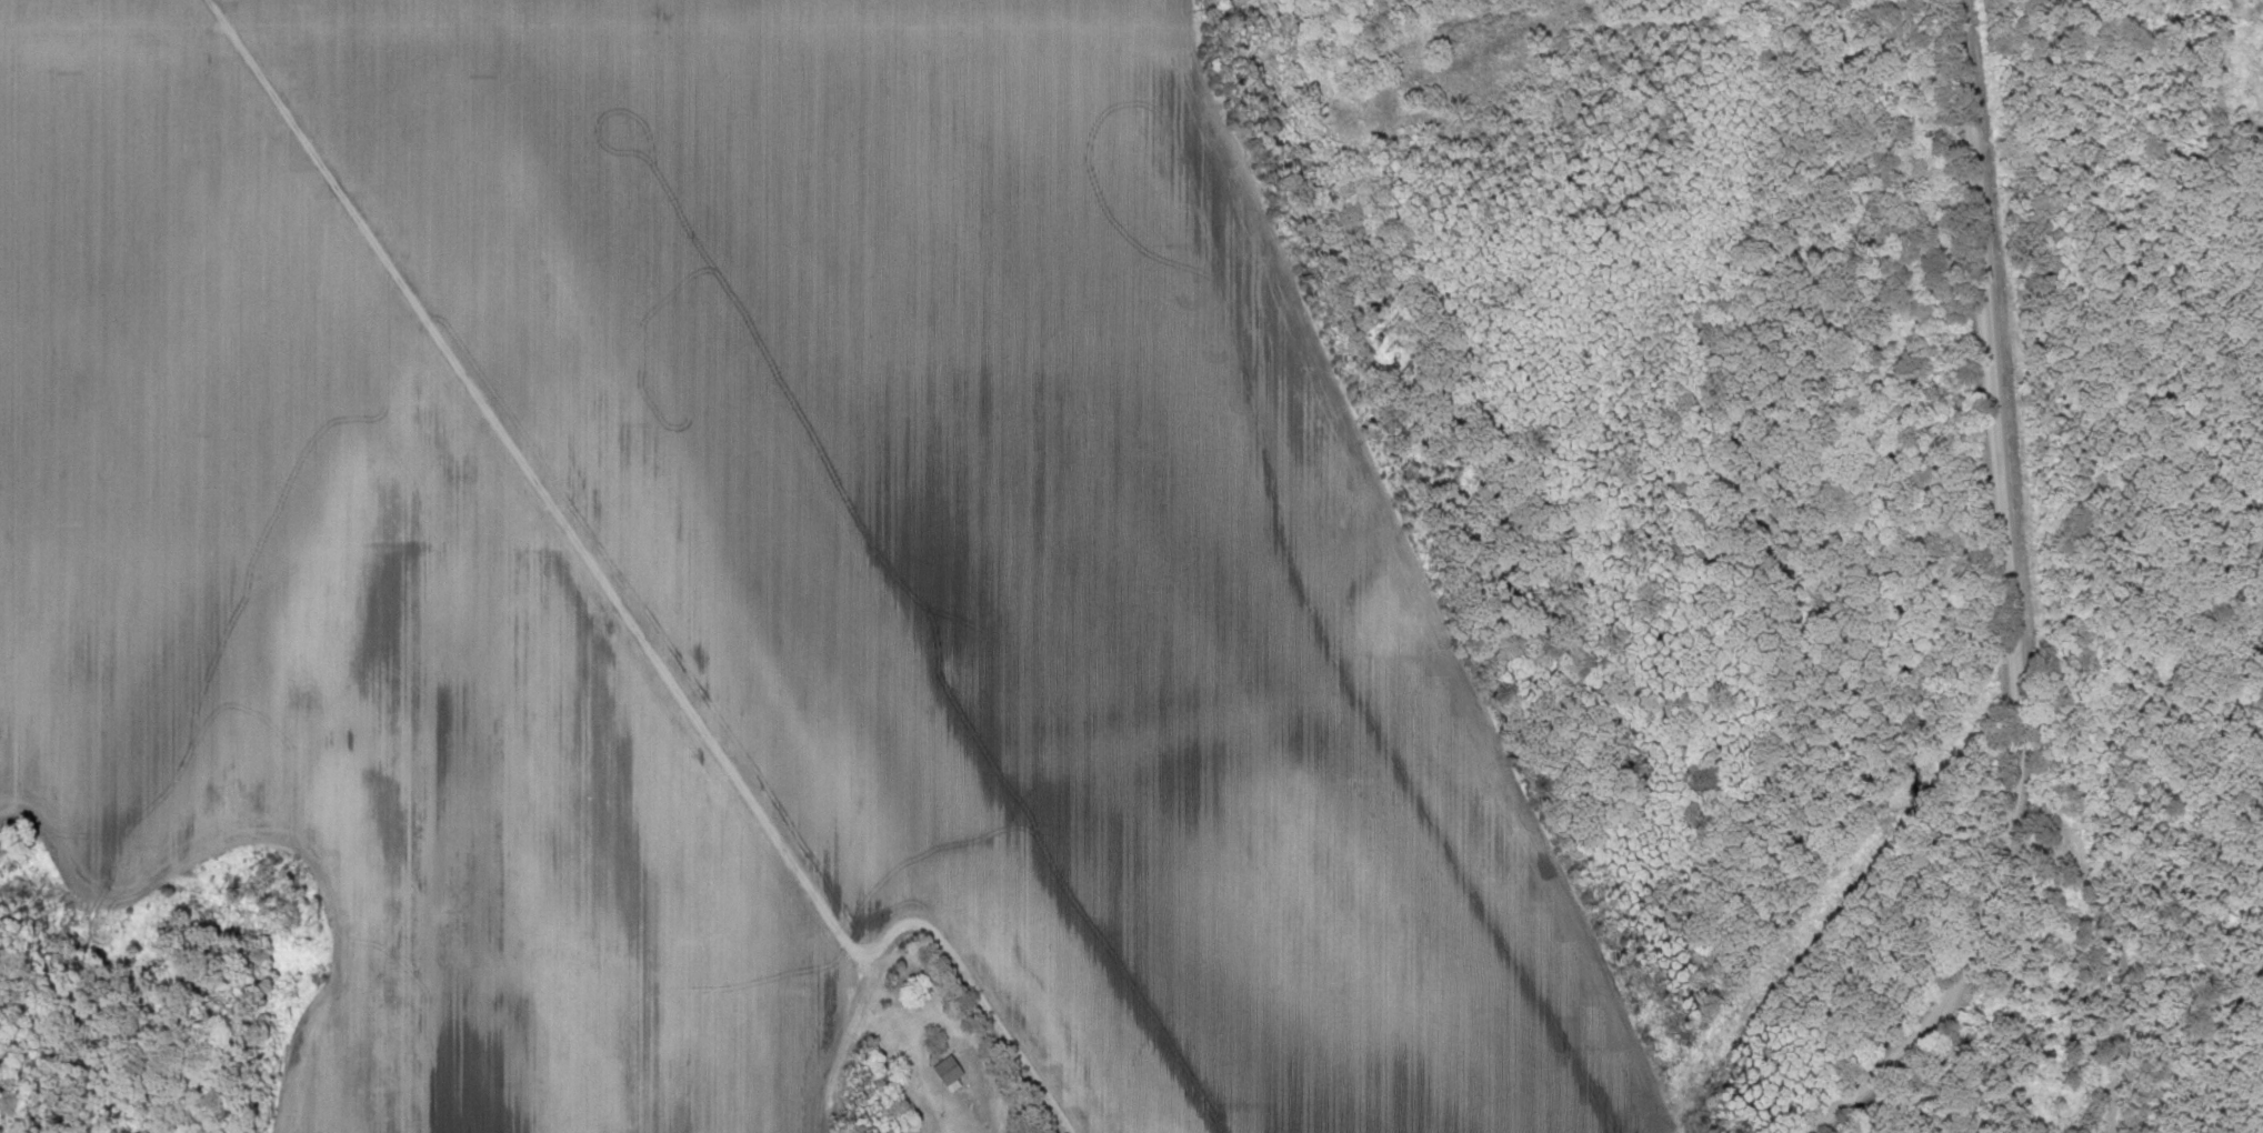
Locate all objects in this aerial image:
road: (2006, 603)
road: (2106, 943)
building: (948, 1072)
road: (975, 1096)

